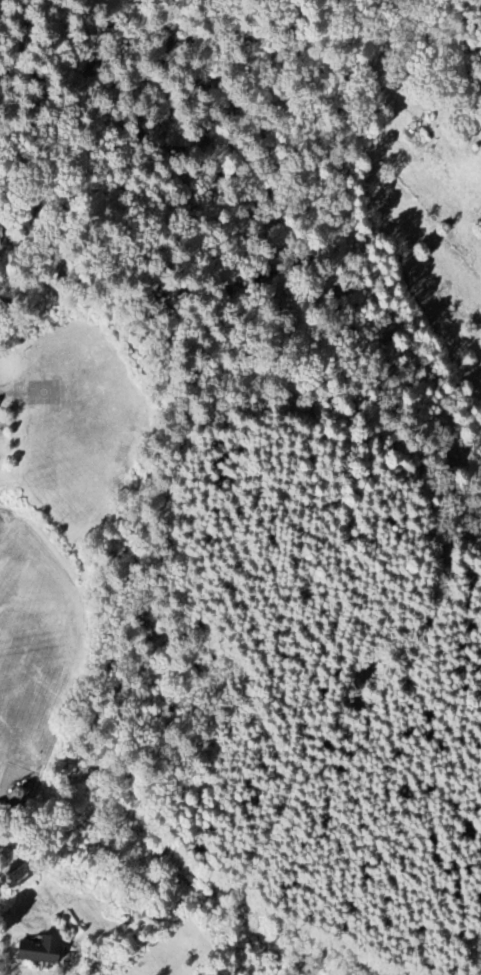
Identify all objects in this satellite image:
building: (44, 951)

